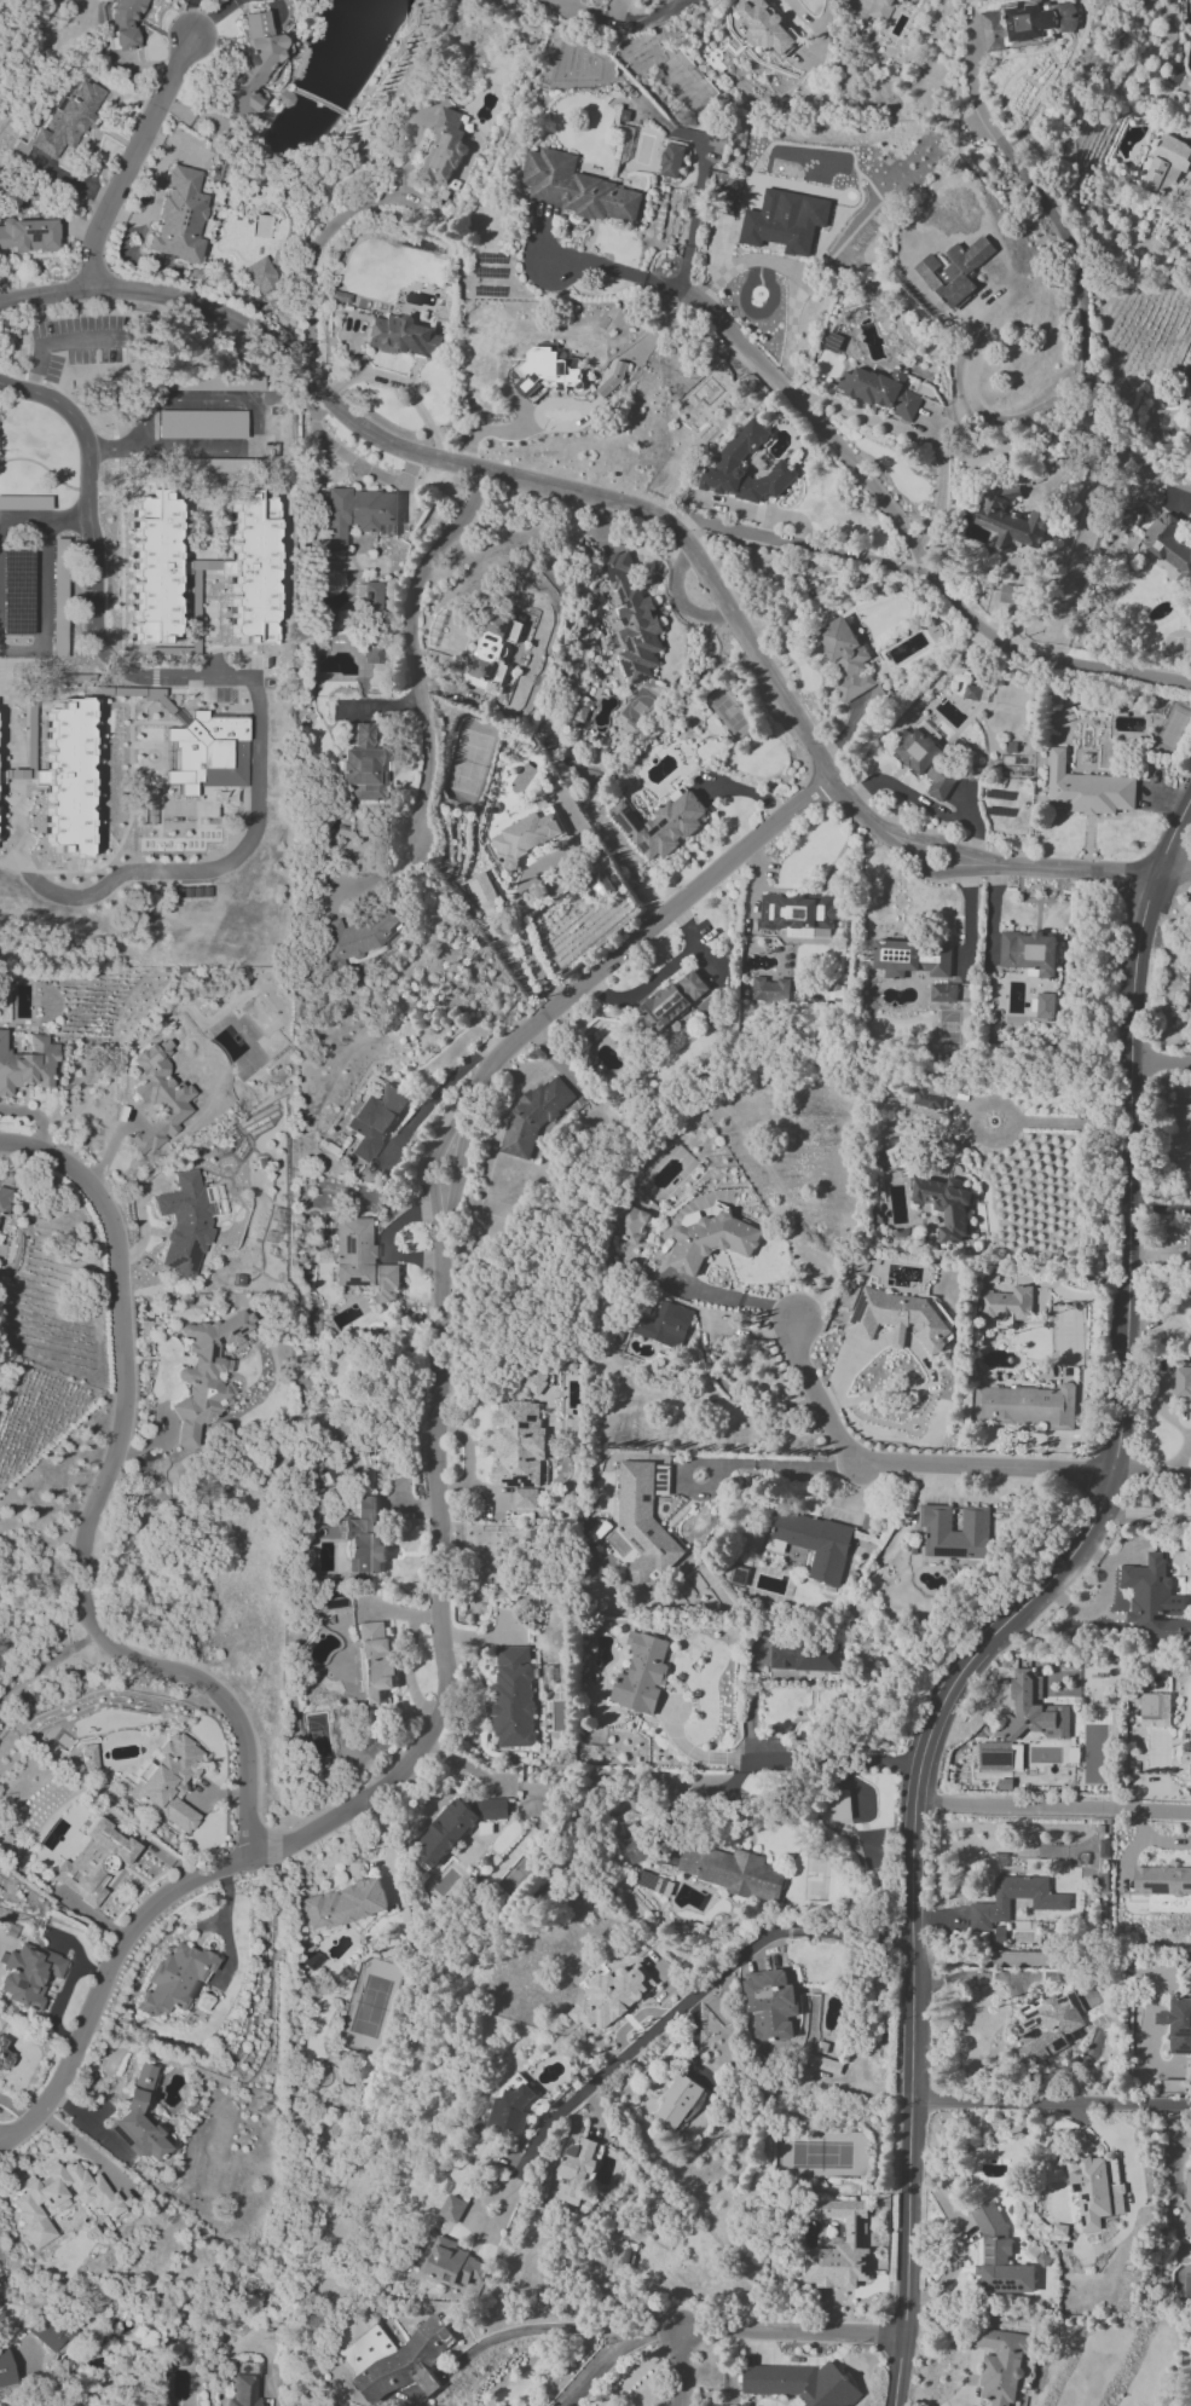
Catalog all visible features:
building: (883, 10)
road: (658, 15)
road: (192, 17)
building: (765, 25)
building: (252, 65)
building: (65, 122)
road: (1004, 146)
building: (444, 149)
road: (133, 160)
building: (671, 160)
building: (1166, 164)
building: (577, 187)
road: (696, 199)
building: (179, 216)
building: (785, 220)
road: (329, 222)
building: (28, 235)
building: (955, 271)
building: (261, 274)
building: (401, 336)
road: (1087, 369)
building: (545, 371)
road: (278, 383)
building: (1189, 387)
building: (880, 391)
road: (793, 397)
road: (589, 410)
building: (201, 424)
road: (260, 429)
road: (504, 429)
road: (919, 430)
road: (1068, 457)
road: (353, 458)
building: (730, 459)
road: (1158, 470)
building: (24, 503)
building: (355, 514)
road: (653, 515)
road: (68, 520)
building: (1008, 520)
building: (1167, 543)
road: (797, 544)
building: (155, 568)
building: (253, 568)
road: (92, 572)
road: (45, 580)
building: (58, 592)
building: (1011, 594)
building: (372, 596)
road: (678, 600)
building: (632, 620)
road: (414, 646)
building: (492, 650)
building: (371, 654)
building: (845, 658)
road: (1079, 663)
building: (208, 754)
building: (925, 760)
building: (362, 763)
building: (1, 776)
building: (68, 777)
building: (1087, 788)
road: (926, 803)
building: (660, 823)
building: (525, 837)
road: (138, 872)
road: (518, 891)
building: (481, 892)
building: (797, 913)
building: (354, 936)
building: (1028, 953)
building: (912, 958)
road: (660, 973)
building: (1189, 984)
building: (769, 989)
building: (942, 993)
building: (672, 999)
building: (1045, 1005)
road: (1160, 1062)
building: (27, 1065)
building: (158, 1095)
building: (929, 1097)
road: (1013, 1115)
building: (374, 1120)
building: (4, 1201)
building: (947, 1205)
building: (184, 1225)
building: (630, 1225)
building: (709, 1237)
building: (362, 1260)
building: (1190, 1285)
building: (1006, 1305)
building: (896, 1318)
road: (709, 1324)
building: (664, 1325)
building: (206, 1373)
building: (1183, 1382)
building: (1027, 1405)
building: (519, 1452)
road: (728, 1462)
road: (904, 1464)
road: (1154, 1469)
building: (660, 1480)
road: (440, 1486)
road: (99, 1508)
road: (1145, 1513)
building: (642, 1521)
building: (955, 1532)
building: (364, 1538)
building: (814, 1543)
park: (146, 1578)
building: (1150, 1600)
road: (1030, 1602)
building: (805, 1655)
building: (374, 1661)
road: (51, 1666)
building: (641, 1673)
building: (511, 1696)
building: (1035, 1708)
building: (1155, 1710)
road: (693, 1752)
building: (1185, 1752)
building: (87, 1756)
road: (837, 1759)
building: (169, 1781)
building: (839, 1805)
road: (1053, 1806)
building: (457, 1824)
building: (632, 1841)
building: (93, 1862)
building: (730, 1870)
building: (1162, 1880)
building: (343, 1904)
building: (988, 1905)
road: (225, 1926)
road: (1059, 1959)
building: (28, 1974)
road: (990, 1974)
building: (175, 1979)
building: (612, 1996)
building: (769, 2005)
road: (673, 2014)
building: (1050, 2024)
building: (1180, 2026)
building: (4, 2057)
building: (825, 2064)
road: (1051, 2099)
building: (676, 2103)
building: (513, 2104)
building: (140, 2117)
building: (573, 2170)
building: (1095, 2190)
building: (59, 2199)
building: (1186, 2205)
building: (453, 2208)
building: (838, 2249)
building: (999, 2255)
building: (450, 2261)
road: (551, 2327)
building: (48, 2332)
road: (793, 2333)
building: (395, 2359)
road: (621, 2359)
building: (1000, 2365)
road: (682, 2369)
building: (6, 2370)
road: (45, 2379)
road: (429, 2383)
building: (800, 2383)
building: (244, 2391)
road: (415, 2396)
road: (67, 2404)

